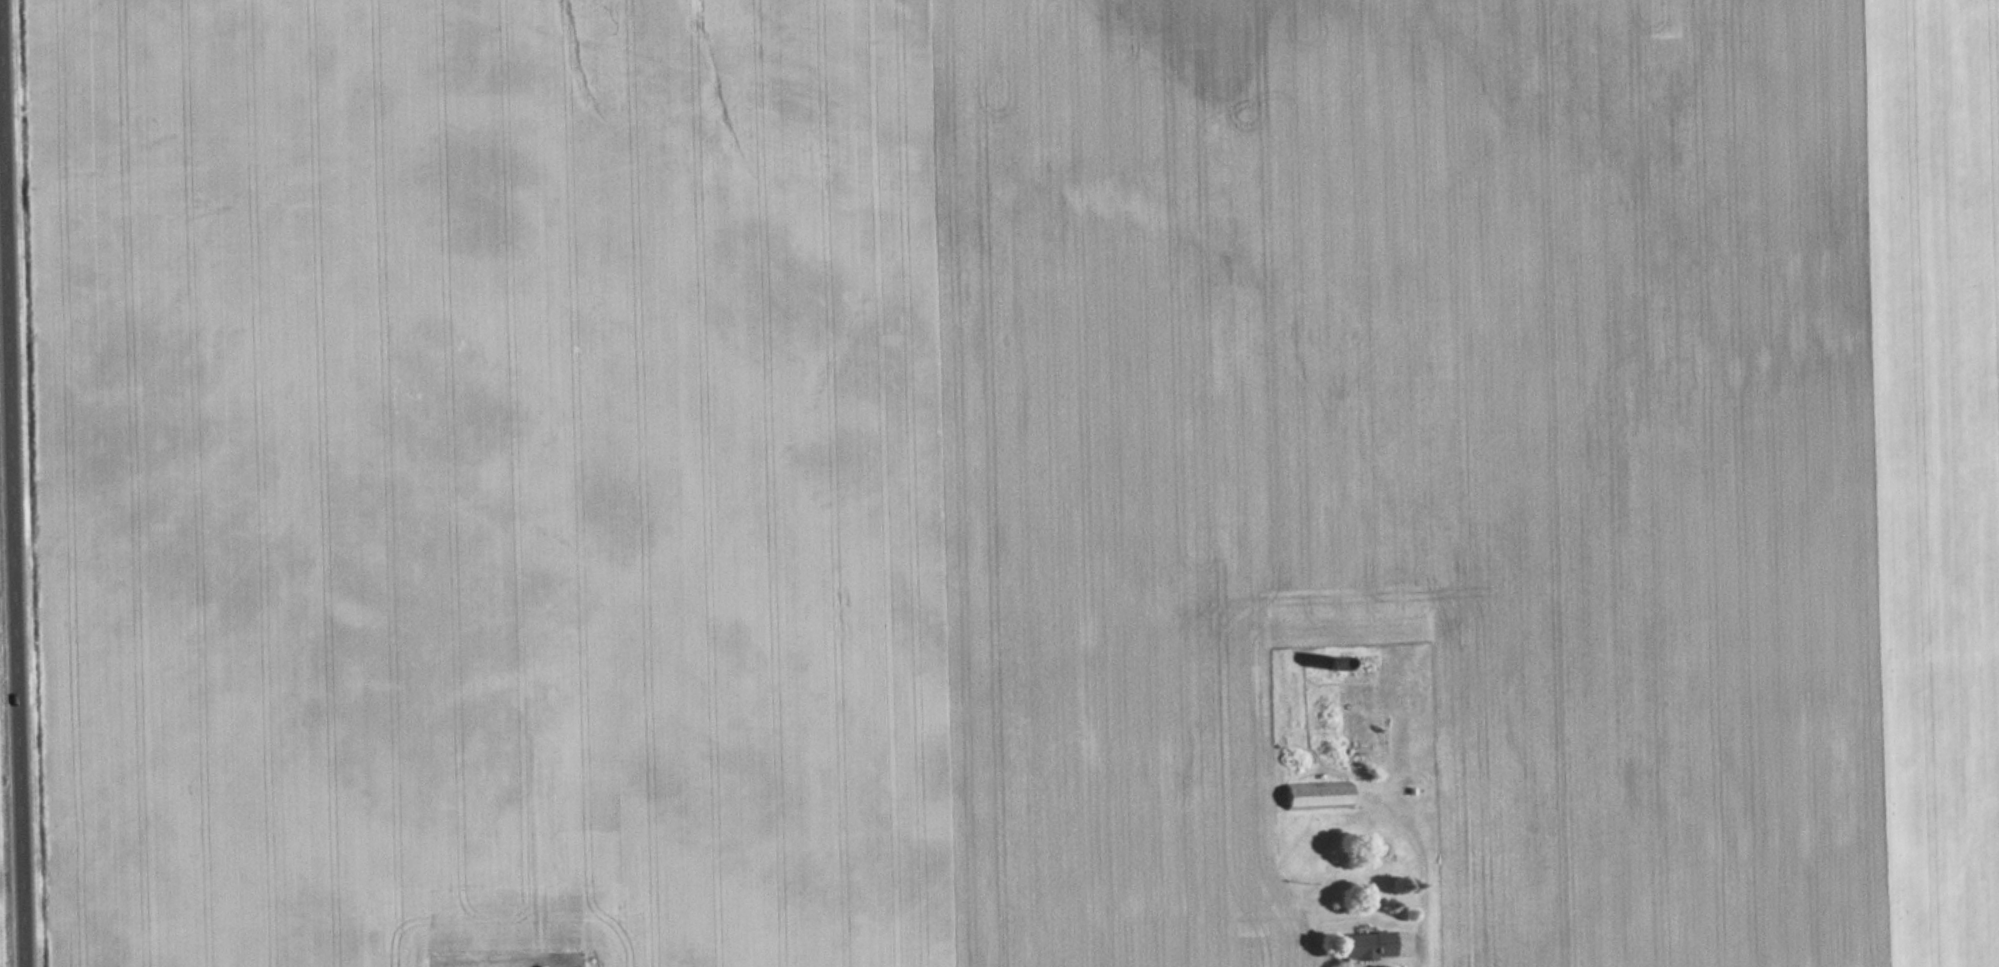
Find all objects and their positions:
road: (13, 517)
building: (1338, 663)
building: (1320, 796)
building: (1367, 946)

